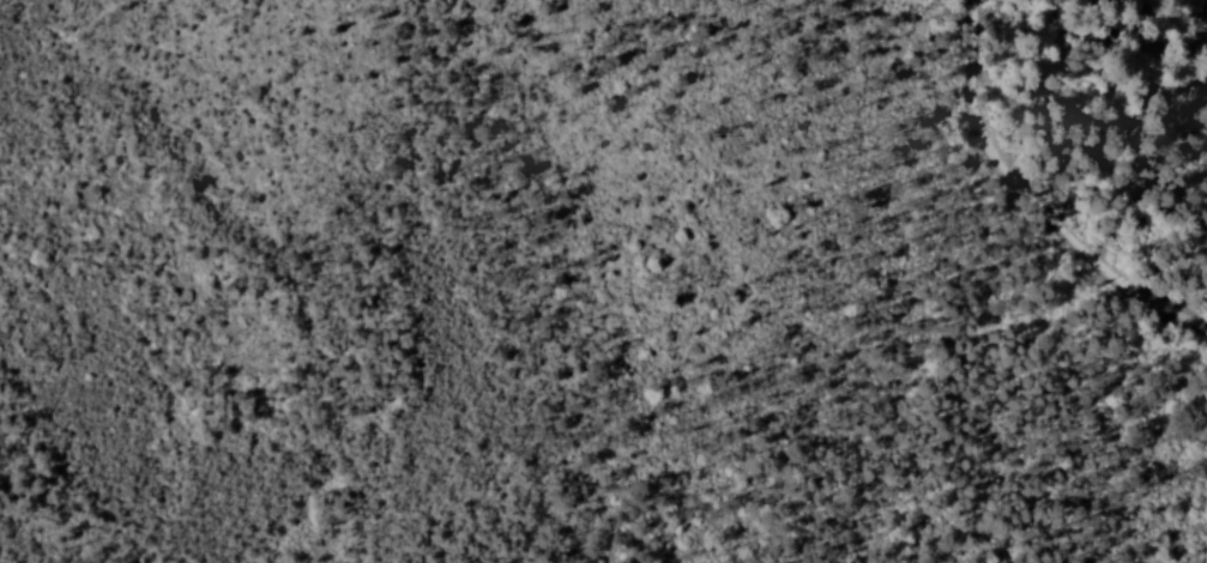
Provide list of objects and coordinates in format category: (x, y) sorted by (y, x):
road: (1028, 210)

